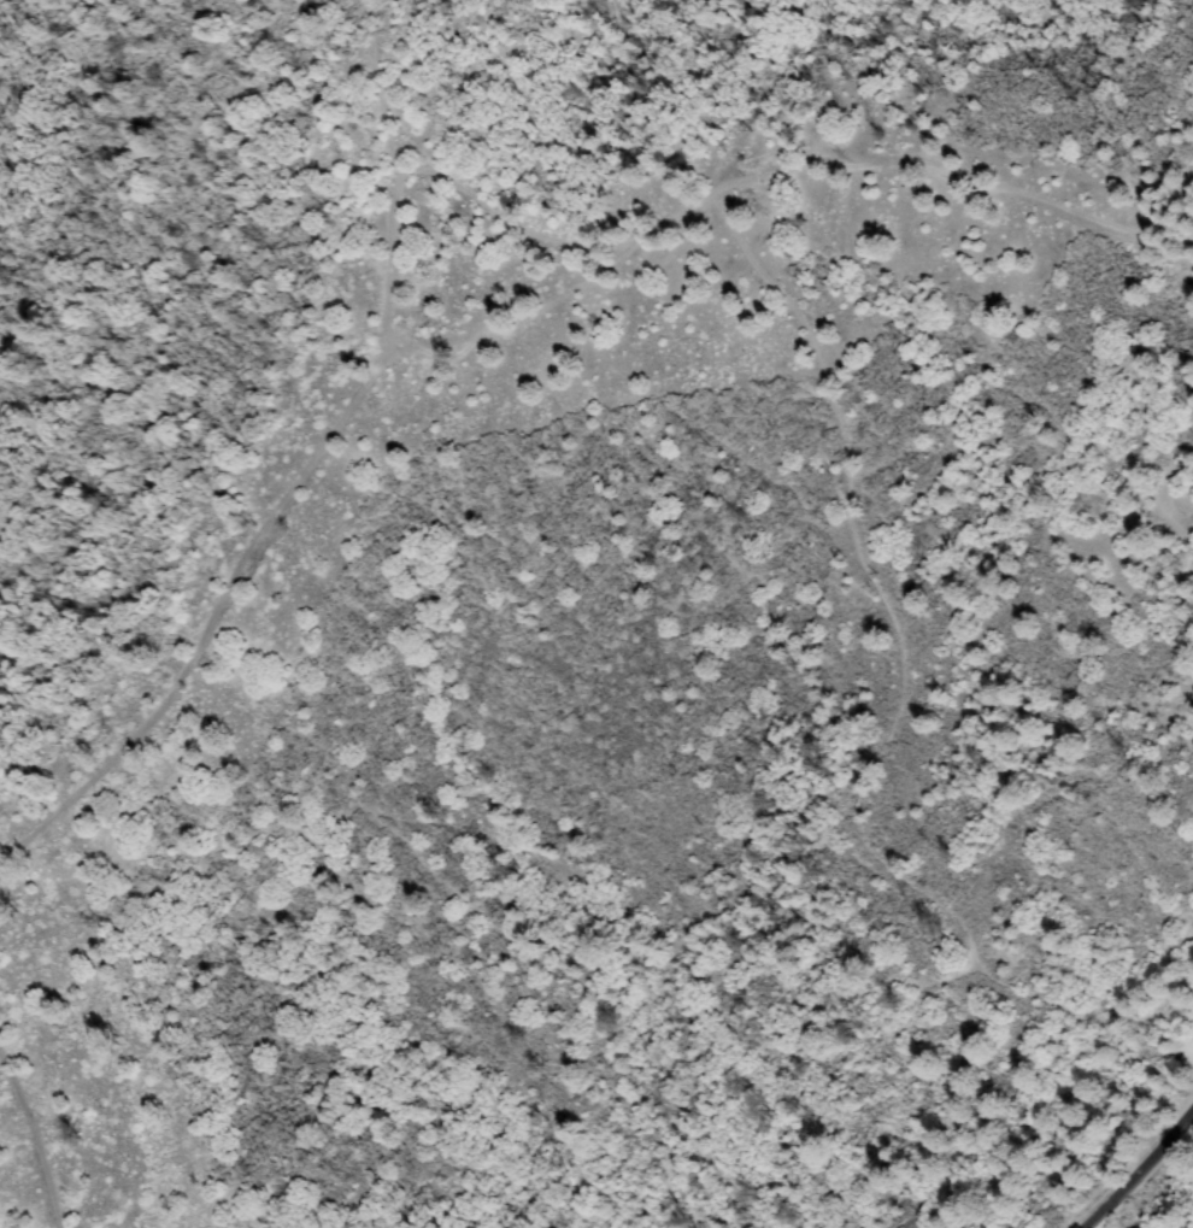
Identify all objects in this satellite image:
road: (411, 181)
road: (24, 1157)
road: (1142, 1174)

